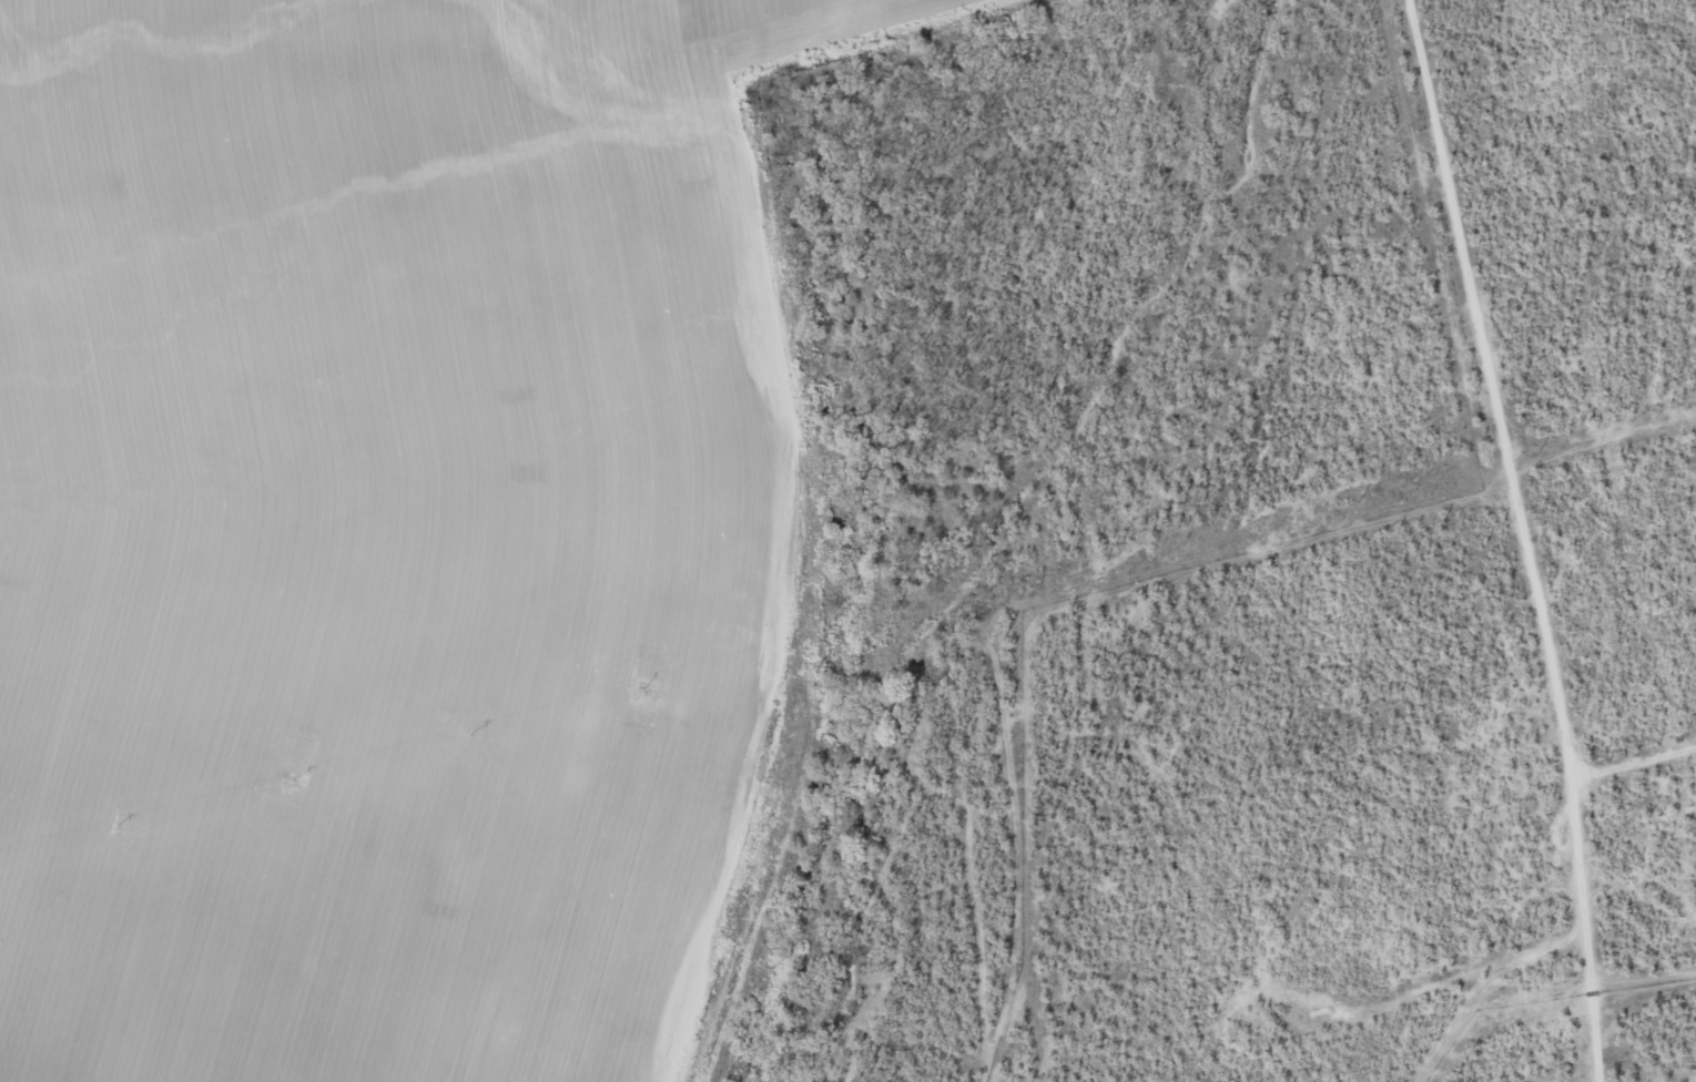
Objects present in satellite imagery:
road: (1515, 492)
road: (1134, 590)
road: (1597, 1037)

